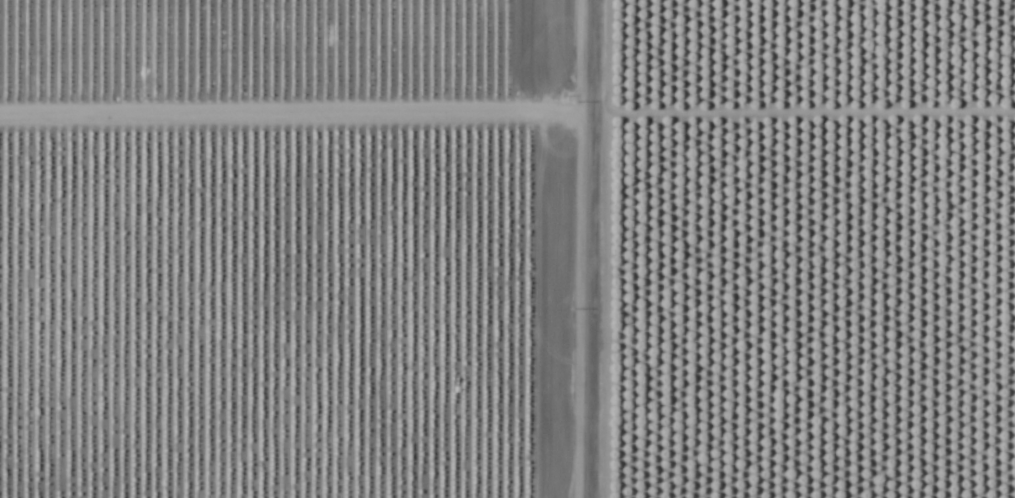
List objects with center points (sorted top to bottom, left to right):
road: (507, 103)
road: (587, 249)

